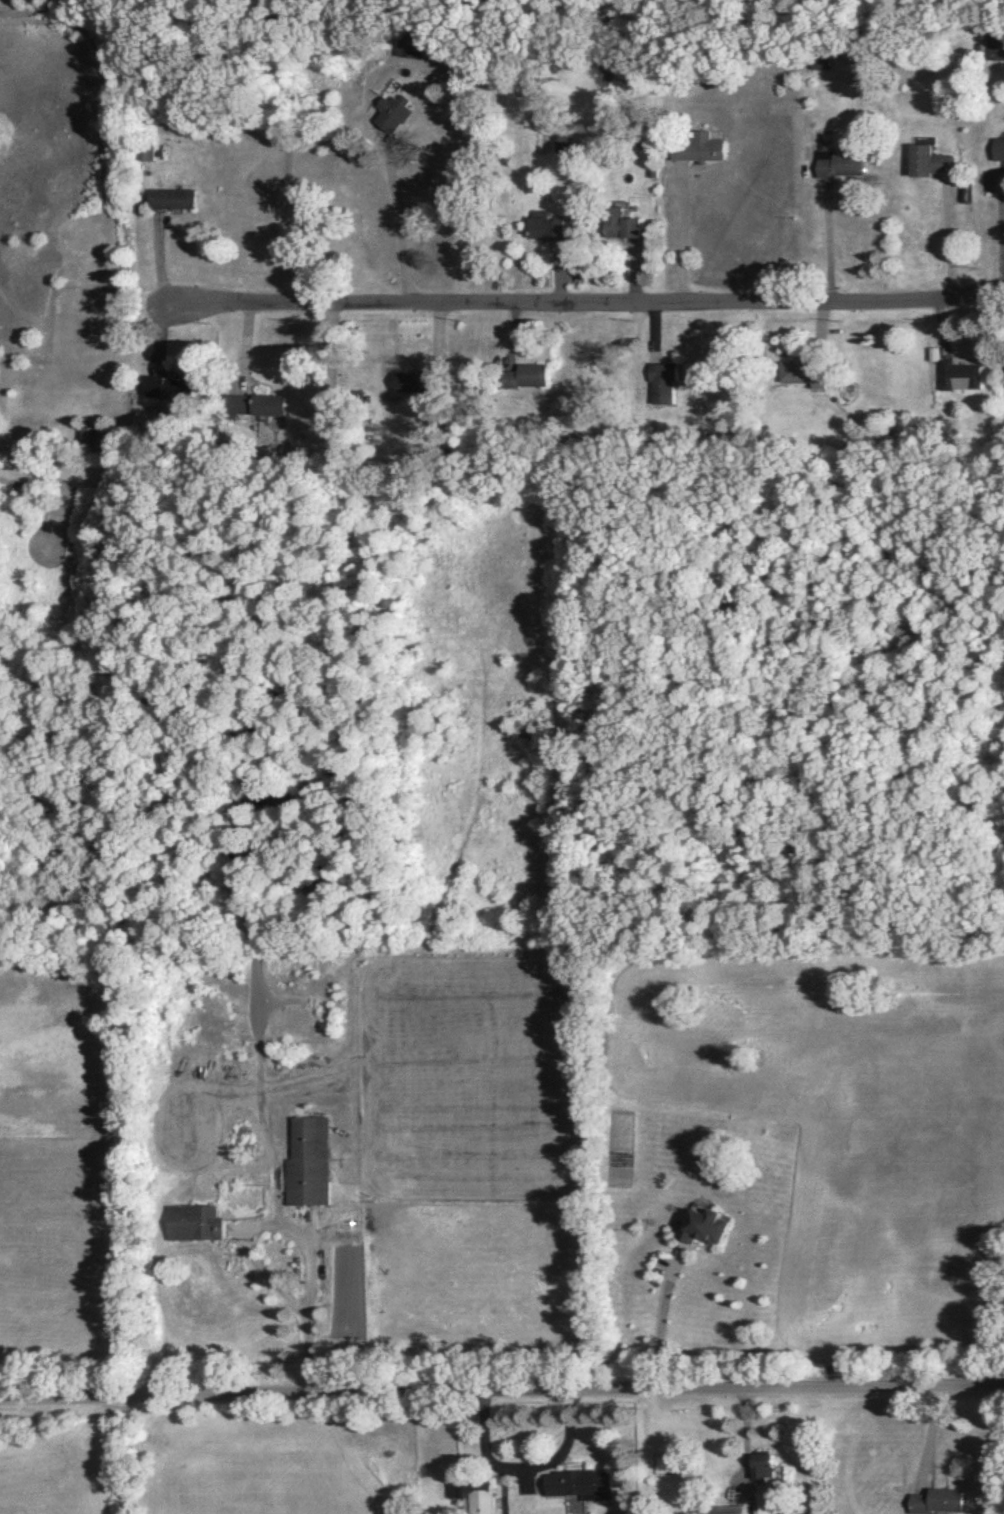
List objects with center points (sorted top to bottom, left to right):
building: (995, 50)
building: (390, 117)
building: (562, 146)
building: (697, 153)
building: (998, 155)
building: (145, 157)
building: (928, 167)
building: (839, 170)
building: (171, 204)
road: (399, 223)
building: (619, 230)
building: (545, 232)
road: (684, 237)
road: (948, 240)
road: (828, 249)
road: (576, 304)
building: (802, 374)
building: (529, 380)
building: (960, 380)
building: (410, 386)
building: (664, 388)
building: (167, 393)
building: (254, 409)
building: (88, 447)
building: (308, 1167)
building: (194, 1228)
building: (702, 1231)
road: (298, 1319)
road: (658, 1319)
road: (501, 1390)
road: (926, 1437)
road: (740, 1439)
road: (523, 1466)
building: (762, 1471)
building: (579, 1489)
building: (480, 1501)
building: (937, 1504)
building: (721, 1512)

